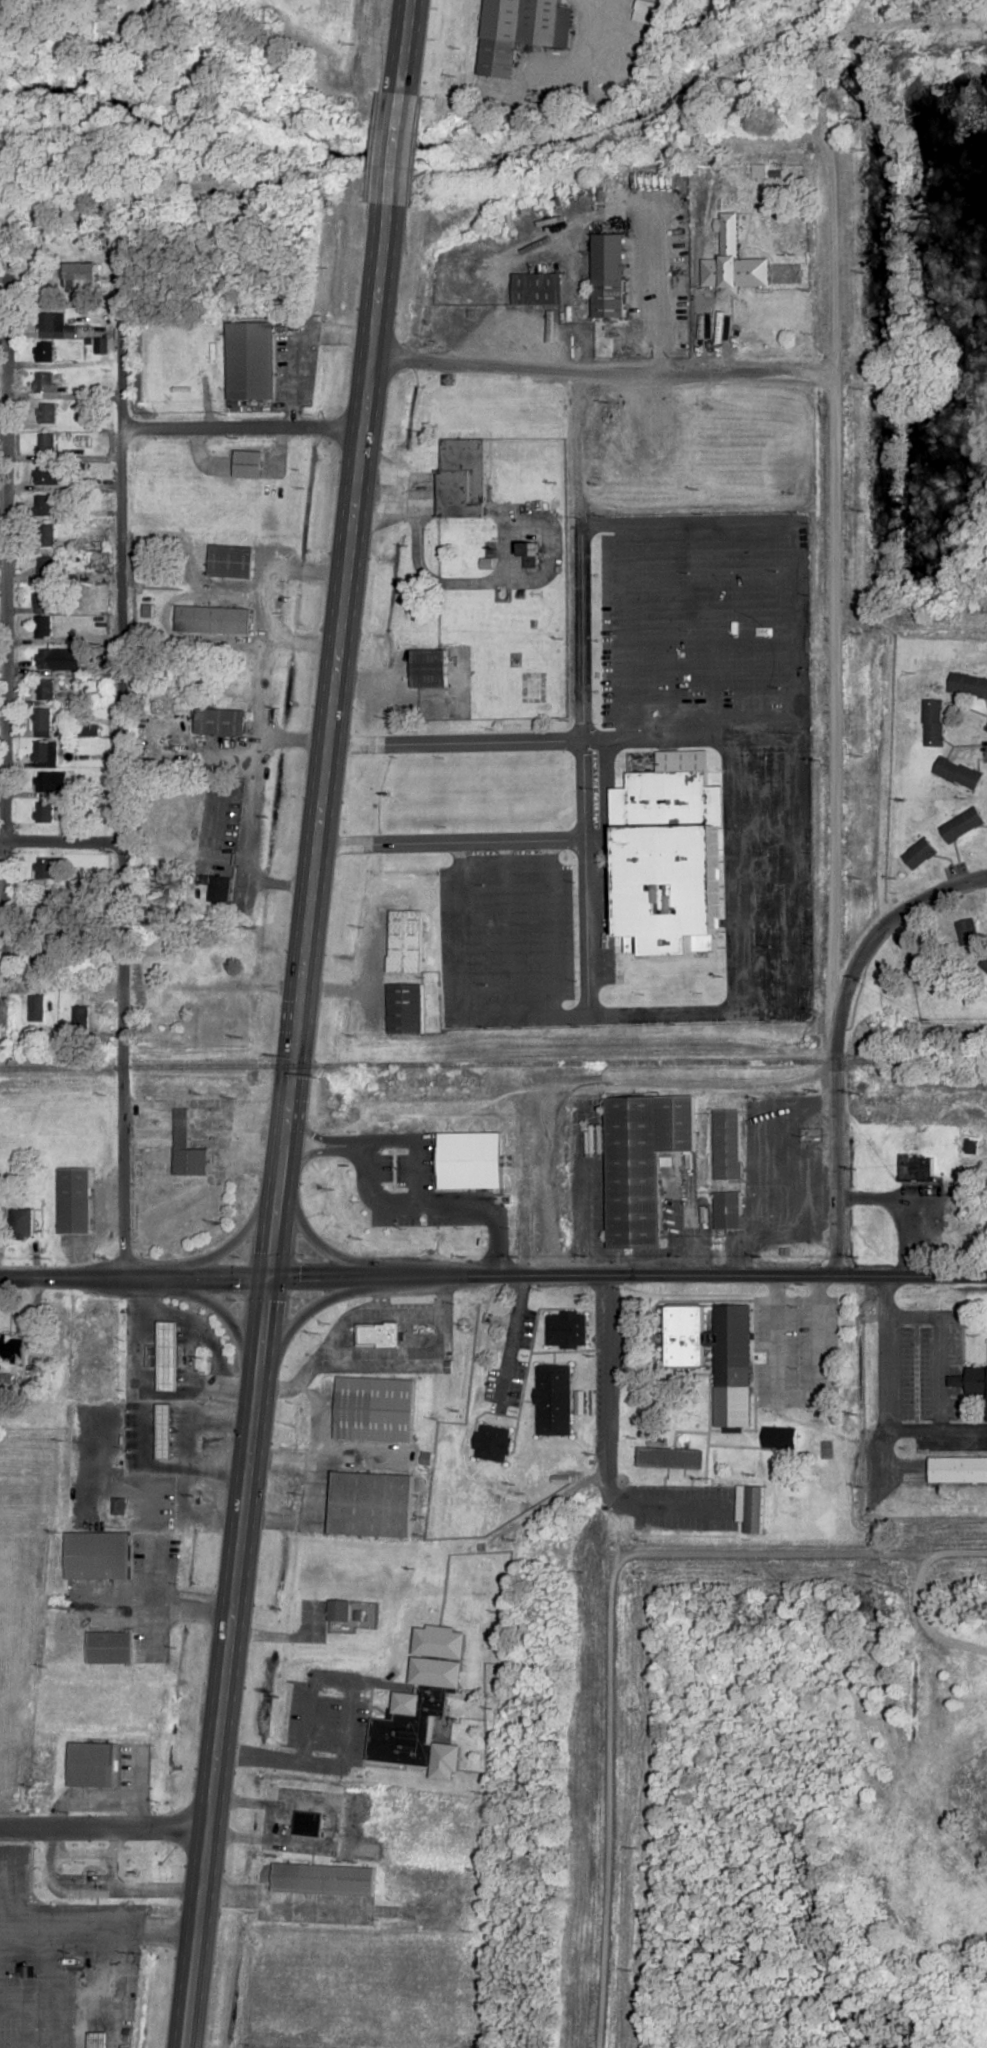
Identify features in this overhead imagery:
building: (645, 15)
road: (582, 26)
building: (520, 31)
road: (405, 46)
road: (394, 149)
road: (616, 165)
building: (774, 171)
building: (733, 260)
building: (608, 275)
building: (81, 279)
building: (534, 289)
building: (52, 325)
building: (45, 352)
building: (250, 360)
road: (603, 374)
building: (46, 382)
building: (48, 414)
road: (240, 430)
building: (48, 444)
building: (247, 464)
building: (47, 476)
building: (462, 478)
building: (44, 506)
road: (600, 524)
road: (687, 524)
building: (45, 538)
building: (95, 543)
building: (529, 555)
building: (230, 562)
road: (4, 563)
building: (46, 567)
road: (465, 584)
building: (43, 613)
building: (212, 619)
road: (833, 619)
parking lot: (607, 629)
parking lot: (642, 629)
parking lot: (687, 629)
road: (710, 629)
parking lot: (732, 629)
parking lot: (776, 629)
building: (45, 660)
building: (428, 669)
road: (578, 682)
building: (968, 686)
building: (45, 690)
building: (219, 722)
building: (41, 723)
building: (933, 723)
road: (263, 725)
road: (732, 737)
road: (644, 738)
building: (44, 754)
road: (118, 758)
parking lot: (765, 769)
building: (958, 773)
building: (47, 783)
road: (765, 784)
road: (582, 791)
road: (604, 800)
parking lot: (765, 807)
building: (44, 812)
building: (961, 826)
road: (766, 830)
road: (59, 842)
road: (451, 844)
building: (669, 852)
parking lot: (766, 854)
building: (920, 855)
building: (45, 873)
road: (731, 873)
road: (801, 873)
road: (766, 876)
building: (216, 889)
parking lot: (768, 900)
building: (155, 917)
parking lot: (605, 922)
road: (767, 923)
parking lot: (528, 929)
road: (550, 929)
road: (587, 929)
parking lot: (483, 930)
road: (506, 930)
parking lot: (565, 933)
building: (967, 933)
road: (869, 938)
building: (405, 941)
parking lot: (769, 946)
parking lot: (445, 948)
building: (215, 964)
building: (984, 965)
building: (166, 966)
road: (767, 968)
parking lot: (769, 983)
road: (239, 987)
building: (163, 1001)
building: (36, 1008)
building: (403, 1008)
road: (544, 1016)
building: (79, 1018)
railway: (901, 1059)
railway: (408, 1065)
road: (558, 1086)
road: (285, 1126)
building: (727, 1144)
building: (186, 1147)
building: (971, 1147)
building: (642, 1162)
building: (915, 1167)
road: (544, 1181)
building: (74, 1201)
road: (264, 1205)
building: (729, 1211)
building: (20, 1224)
road: (627, 1276)
road: (134, 1277)
road: (207, 1301)
road: (410, 1309)
road: (308, 1312)
road: (353, 1314)
building: (566, 1329)
building: (810, 1333)
building: (378, 1334)
building: (709, 1340)
building: (7, 1347)
road: (884, 1354)
building: (166, 1355)
road: (381, 1358)
building: (972, 1380)
building: (553, 1400)
building: (373, 1409)
road: (316, 1419)
road: (607, 1423)
building: (164, 1430)
building: (777, 1436)
building: (492, 1443)
building: (669, 1458)
building: (958, 1469)
road: (312, 1493)
building: (370, 1503)
building: (117, 1506)
road: (663, 1506)
building: (750, 1508)
building: (97, 1555)
building: (339, 1609)
road: (609, 1621)
road: (921, 1626)
road: (271, 1636)
building: (109, 1648)
building: (423, 1706)
parking lot: (294, 1713)
road: (347, 1721)
parking lot: (326, 1724)
parking lot: (359, 1733)
building: (92, 1764)
parking lot: (300, 1794)
parking lot: (279, 1822)
building: (308, 1823)
road: (330, 1825)
road: (103, 1831)
parking lot: (298, 1849)
building: (84, 1874)
building: (323, 1879)
parking lot: (322, 1897)
road: (312, 1904)
parking lot: (313, 1916)
road: (97, 1932)
road: (0, 1970)
road: (36, 1990)
building: (97, 2040)
gas station: (97, 2040)

